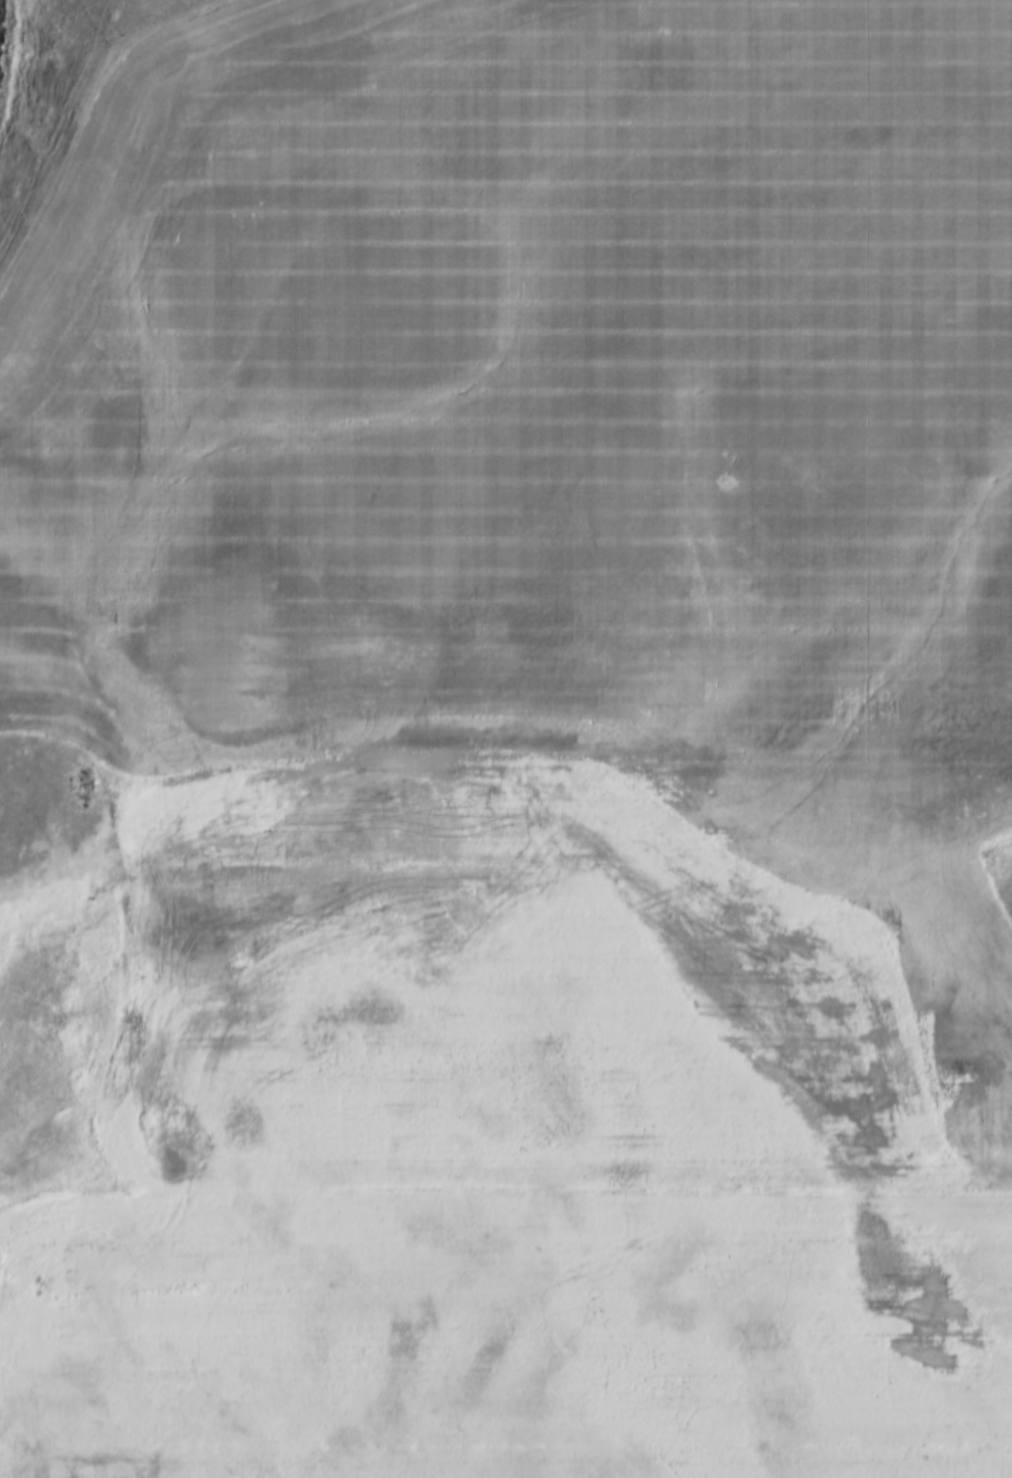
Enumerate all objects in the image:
road: (30, 706)

